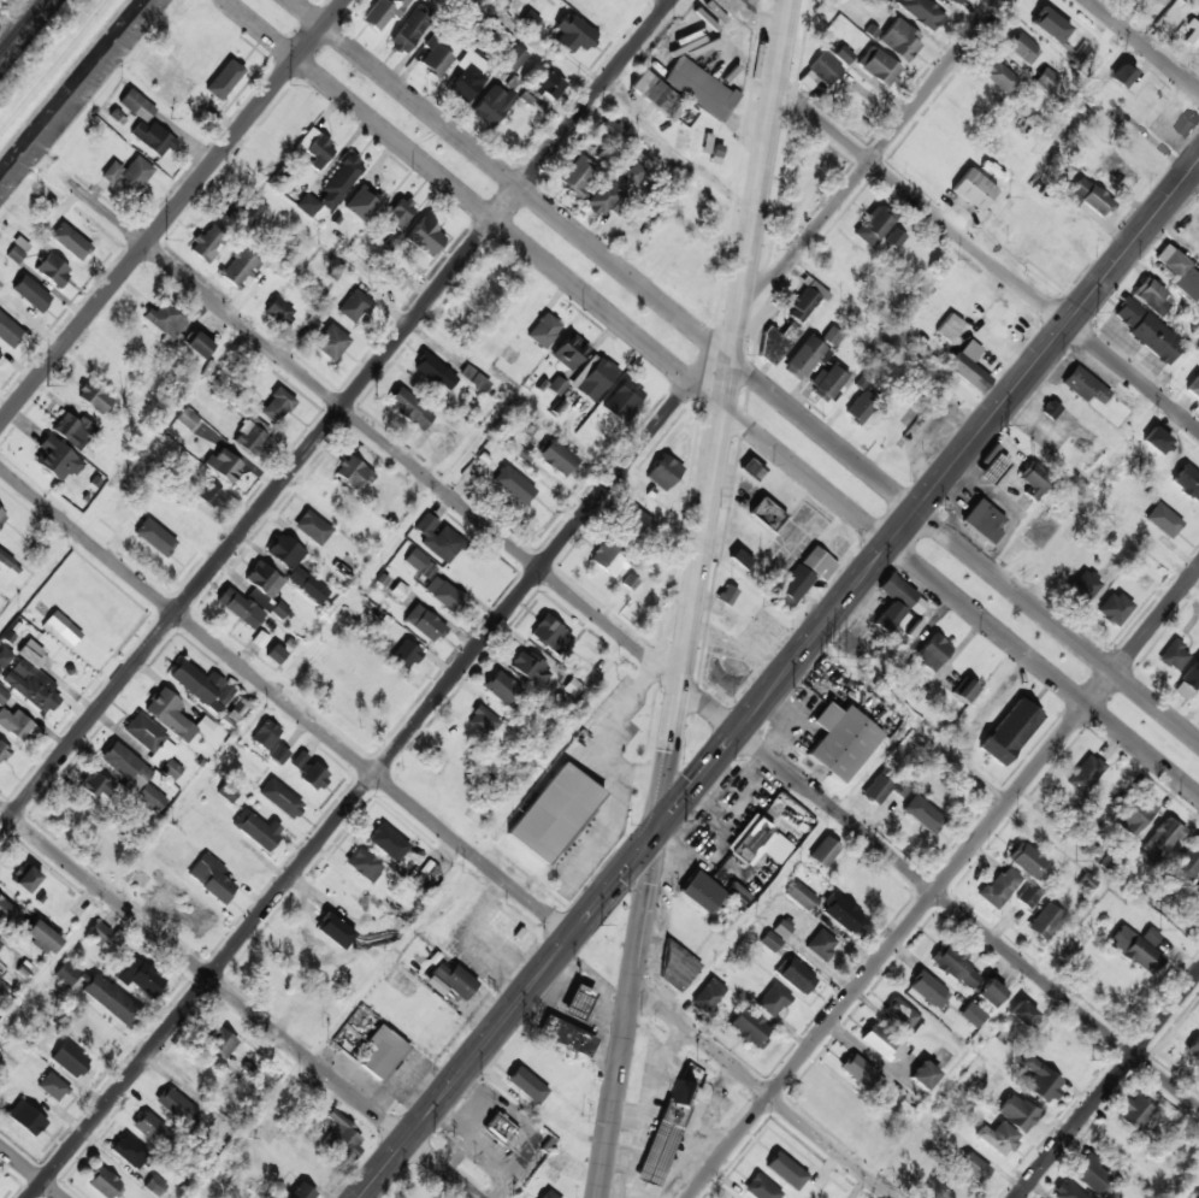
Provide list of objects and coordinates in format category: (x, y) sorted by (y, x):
building: (881, 1)
building: (956, 1)
building: (726, 5)
building: (383, 12)
building: (921, 13)
building: (1046, 22)
railway: (19, 24)
building: (573, 34)
building: (1192, 36)
building: (900, 40)
road: (1146, 43)
building: (1094, 47)
building: (1023, 49)
building: (843, 54)
building: (513, 58)
building: (436, 60)
building: (878, 67)
building: (823, 69)
building: (1121, 76)
building: (467, 77)
building: (999, 77)
building: (224, 79)
building: (1046, 81)
building: (542, 87)
building: (699, 89)
building: (654, 94)
building: (1147, 104)
building: (136, 105)
building: (491, 106)
building: (1187, 124)
building: (152, 137)
building: (609, 138)
building: (315, 148)
building: (1117, 171)
building: (633, 172)
building: (128, 175)
building: (578, 175)
building: (809, 176)
building: (339, 181)
building: (973, 189)
building: (1091, 197)
building: (602, 199)
building: (362, 202)
road: (756, 202)
building: (307, 205)
building: (243, 211)
road: (172, 212)
building: (398, 213)
building: (1006, 222)
building: (874, 226)
building: (1073, 226)
building: (425, 236)
building: (894, 237)
building: (70, 241)
building: (207, 241)
building: (16, 250)
road: (986, 256)
building: (1055, 260)
building: (240, 266)
building: (52, 270)
building: (1180, 273)
building: (30, 293)
building: (1151, 295)
building: (804, 302)
building: (354, 306)
building: (279, 311)
building: (164, 319)
building: (949, 326)
building: (1146, 330)
building: (7, 331)
building: (543, 331)
building: (832, 336)
building: (331, 342)
building: (778, 342)
building: (197, 343)
building: (566, 353)
building: (0, 355)
building: (804, 358)
building: (970, 367)
road: (744, 370)
building: (435, 371)
building: (473, 378)
building: (592, 379)
building: (829, 382)
building: (1086, 385)
building: (556, 386)
building: (1193, 388)
road: (713, 396)
building: (94, 397)
building: (620, 401)
building: (276, 406)
building: (861, 407)
building: (409, 408)
building: (1050, 408)
road: (336, 415)
building: (187, 418)
building: (72, 430)
building: (206, 432)
building: (248, 437)
building: (1158, 441)
building: (556, 458)
building: (55, 459)
building: (224, 465)
building: (751, 468)
building: (993, 470)
building: (663, 472)
building: (352, 473)
building: (1035, 480)
building: (1188, 482)
building: (513, 485)
building: (211, 495)
building: (524, 498)
building: (766, 513)
building: (1, 515)
building: (1164, 520)
building: (633, 521)
building: (984, 521)
building: (312, 527)
building: (154, 537)
building: (438, 538)
road: (702, 553)
building: (606, 557)
building: (6, 559)
building: (740, 559)
building: (419, 562)
building: (295, 567)
building: (803, 576)
building: (630, 583)
building: (1083, 586)
building: (266, 590)
building: (398, 591)
building: (444, 594)
building: (727, 595)
road: (515, 598)
building: (896, 602)
building: (238, 607)
building: (1114, 608)
building: (424, 622)
building: (60, 627)
building: (549, 635)
road: (632, 643)
building: (934, 653)
building: (404, 655)
building: (4, 656)
building: (1174, 656)
building: (531, 669)
building: (1192, 674)
building: (30, 678)
road: (780, 679)
building: (201, 685)
building: (963, 689)
building: (504, 690)
building: (2, 696)
building: (234, 713)
building: (173, 716)
building: (482, 720)
building: (14, 724)
building: (1011, 731)
building: (265, 733)
building: (841, 740)
building: (153, 744)
building: (2, 750)
building: (278, 754)
road: (668, 766)
building: (308, 771)
building: (130, 772)
building: (1085, 773)
building: (96, 784)
building: (884, 789)
building: (279, 798)
building: (554, 812)
building: (1136, 814)
building: (919, 820)
building: (256, 828)
road: (445, 833)
traffic signals: (657, 833)
building: (1159, 840)
building: (386, 842)
building: (757, 843)
building: (823, 852)
building: (1026, 860)
building: (364, 864)
building: (1186, 864)
building: (25, 878)
building: (211, 878)
road: (943, 881)
building: (998, 887)
building: (702, 891)
building: (166, 892)
building: (1197, 895)
road: (646, 896)
building: (799, 896)
building: (1028, 897)
building: (7, 911)
building: (840, 911)
building: (194, 915)
building: (1044, 921)
building: (684, 927)
building: (784, 927)
building: (385, 930)
building: (510, 931)
building: (98, 932)
building: (1150, 936)
building: (42, 937)
building: (0, 942)
building: (770, 942)
building: (821, 945)
building: (1135, 951)
building: (955, 967)
building: (677, 968)
building: (137, 975)
building: (797, 978)
building: (449, 980)
building: (927, 991)
building: (99, 993)
building: (990, 993)
building: (707, 996)
building: (772, 1001)
road: (240, 1002)
building: (575, 1002)
building: (900, 1014)
building: (1022, 1015)
building: (970, 1016)
building: (749, 1028)
building: (565, 1035)
building: (219, 1041)
building: (881, 1044)
building: (1193, 1049)
building: (382, 1052)
building: (940, 1056)
building: (537, 1057)
building: (70, 1060)
building: (861, 1073)
building: (923, 1076)
road: (616, 1078)
building: (1039, 1081)
building: (526, 1085)
road: (1108, 1085)
building: (53, 1086)
building: (832, 1103)
building: (176, 1105)
building: (1016, 1113)
building: (1134, 1113)
building: (26, 1119)
building: (217, 1126)
building: (148, 1127)
building: (500, 1128)
building: (665, 1133)
building: (342, 1137)
building: (998, 1139)
building: (128, 1151)
building: (780, 1163)
building: (973, 1168)
road: (30, 1172)
building: (1093, 1176)
building: (102, 1182)
building: (154, 1186)
building: (760, 1188)
building: (1065, 1191)
building: (301, 1192)
building: (547, 1194)

